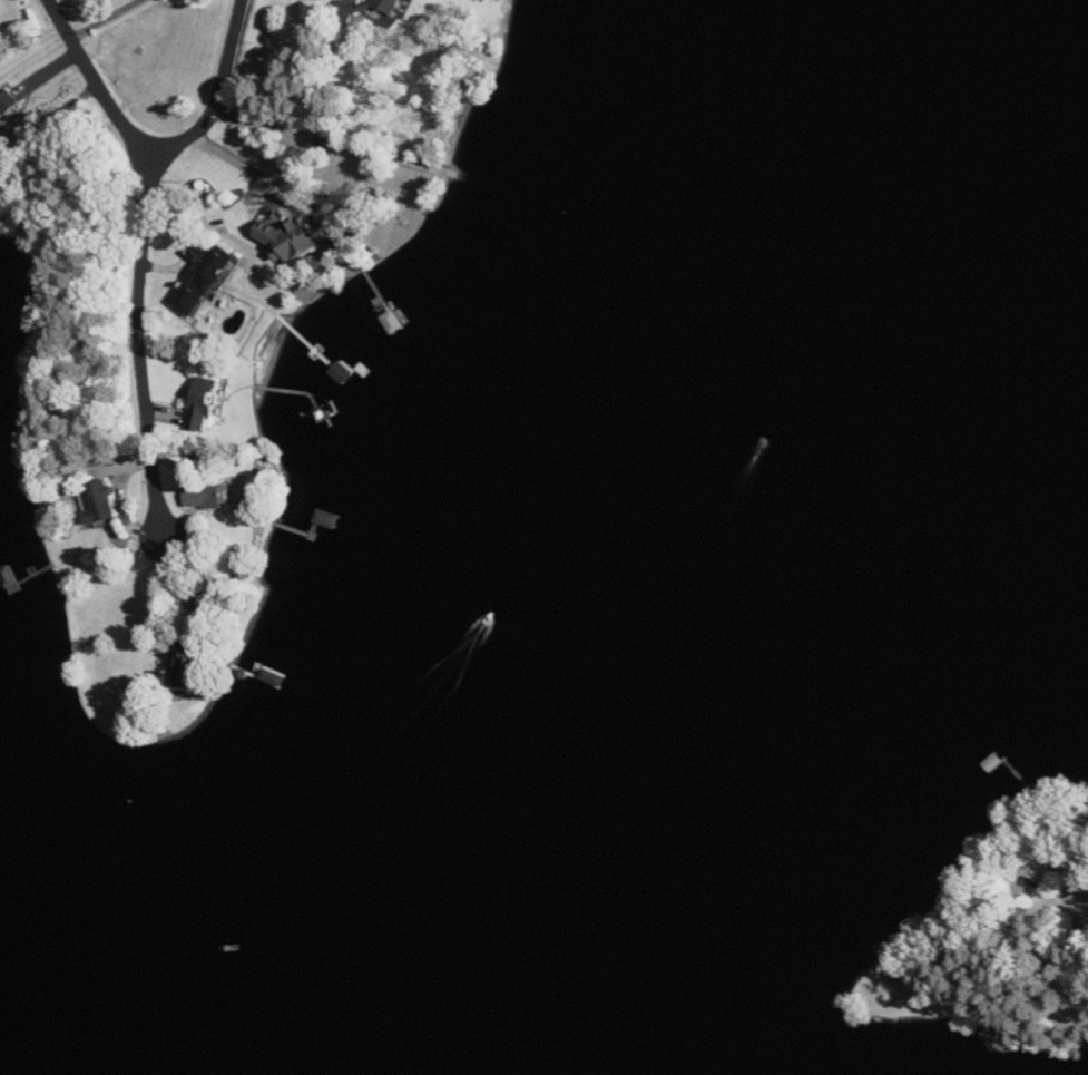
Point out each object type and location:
building: (389, 6)
building: (9, 104)
road: (155, 144)
building: (203, 276)
road: (135, 340)
building: (205, 402)
building: (210, 496)
building: (102, 502)
building: (188, 662)

